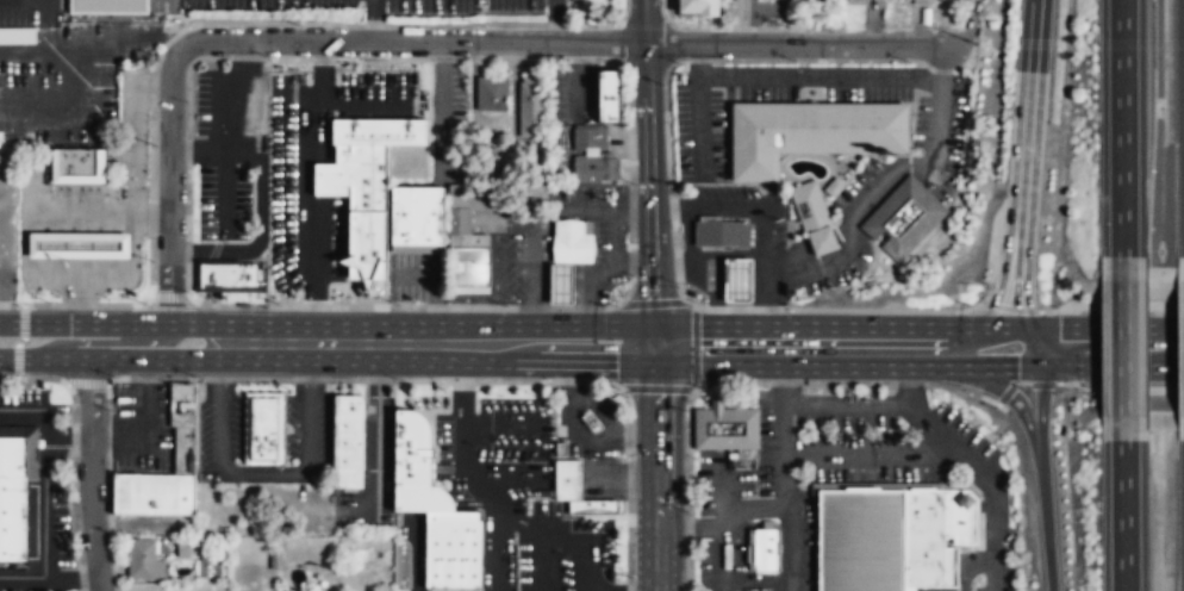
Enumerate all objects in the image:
building: (910, 1)
building: (571, 5)
building: (107, 7)
building: (697, 7)
road: (373, 20)
road: (555, 21)
road: (642, 21)
road: (44, 30)
building: (17, 37)
road: (413, 41)
road: (793, 43)
power tower: (973, 43)
road: (572, 52)
road: (697, 58)
road: (25, 60)
street lamp: (591, 62)
road: (942, 63)
road: (320, 71)
road: (905, 75)
building: (102, 77)
parking lot: (573, 89)
road: (571, 91)
building: (491, 93)
building: (610, 93)
road: (233, 94)
road: (68, 102)
building: (530, 107)
road: (440, 108)
road: (1122, 127)
road: (135, 130)
building: (811, 130)
building: (409, 136)
building: (590, 136)
road: (198, 151)
building: (76, 163)
road: (1022, 163)
building: (596, 166)
road: (317, 176)
road: (170, 182)
building: (831, 186)
building: (536, 193)
road: (648, 193)
road: (226, 194)
road: (260, 197)
parking lot: (223, 201)
road: (671, 203)
road: (754, 204)
road: (604, 212)
parking lot: (744, 212)
building: (417, 213)
road: (497, 217)
building: (904, 217)
building: (814, 219)
building: (723, 232)
building: (573, 239)
road: (132, 242)
building: (77, 243)
road: (204, 250)
road: (631, 262)
building: (469, 265)
building: (230, 274)
road: (598, 275)
road: (779, 275)
road: (418, 278)
building: (739, 278)
gas station: (739, 278)
road: (532, 282)
building: (561, 282)
gas station: (561, 282)
road: (761, 292)
road: (497, 294)
road: (434, 319)
road: (130, 324)
road: (831, 325)
road: (1101, 326)
road: (105, 342)
road: (316, 343)
road: (512, 343)
traffic signals: (650, 346)
road: (693, 347)
road: (1122, 348)
road: (130, 359)
road: (778, 366)
traffic signals: (1016, 367)
road: (1046, 368)
road: (462, 381)
road: (784, 384)
road: (909, 384)
road: (700, 397)
road: (739, 399)
road: (1014, 400)
road: (846, 402)
building: (181, 403)
road: (35, 408)
road: (591, 409)
road: (149, 415)
road: (498, 418)
building: (590, 419)
building: (725, 425)
building: (263, 427)
road: (76, 434)
road: (947, 437)
building: (348, 440)
building: (412, 448)
building: (183, 449)
road: (784, 454)
road: (875, 456)
road: (1041, 458)
road: (376, 462)
road: (499, 464)
road: (655, 467)
road: (272, 472)
road: (91, 474)
parking lot: (603, 478)
road: (456, 479)
building: (568, 479)
road: (479, 489)
building: (152, 493)
building: (12, 498)
building: (423, 498)
road: (430, 502)
road: (471, 502)
road: (441, 503)
road: (44, 505)
building: (593, 505)
road: (754, 508)
building: (961, 515)
road: (1123, 515)
road: (993, 516)
road: (552, 521)
road: (691, 527)
road: (724, 533)
building: (864, 539)
building: (929, 541)
road: (793, 545)
building: (766, 548)
building: (454, 549)
road: (416, 550)
road: (590, 553)
building: (141, 556)
road: (504, 556)
road: (49, 577)
road: (993, 577)

